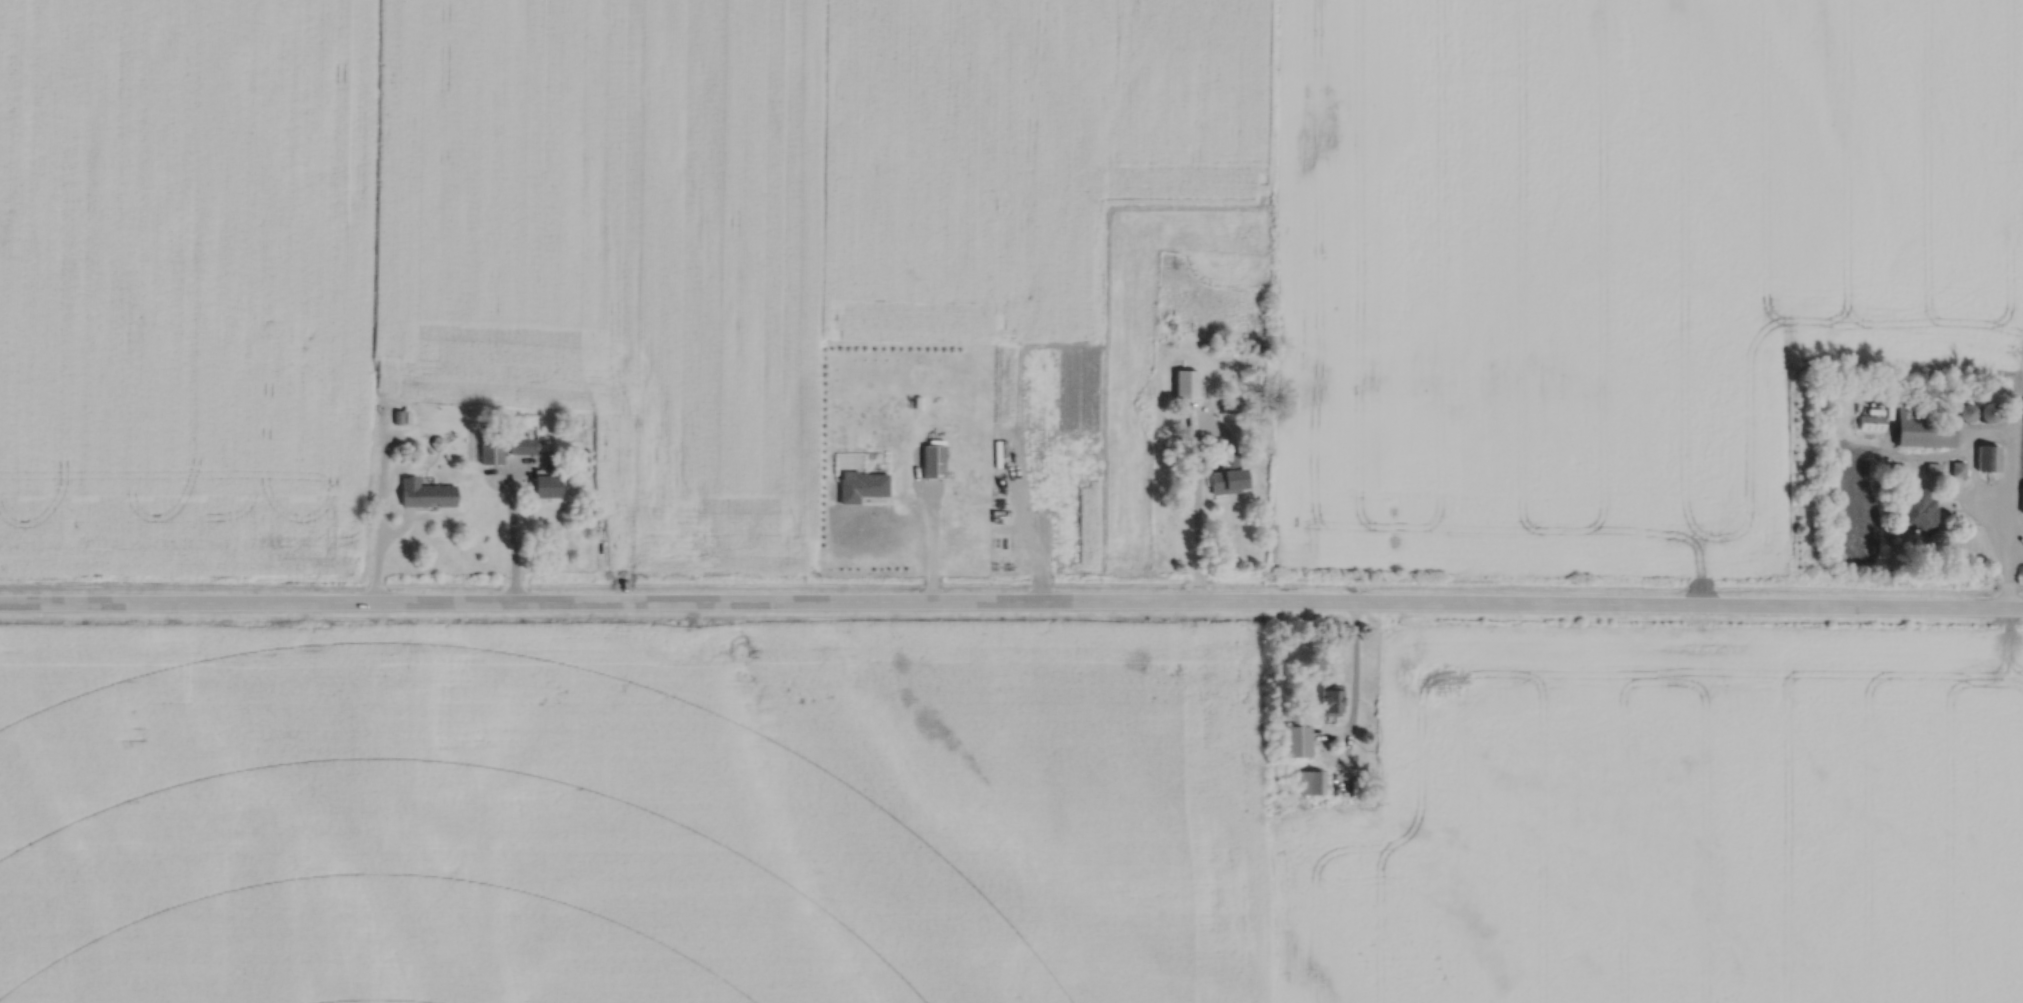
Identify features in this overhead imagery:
building: (1186, 384)
building: (1230, 407)
building: (1875, 411)
building: (1966, 412)
building: (1987, 412)
building: (397, 417)
building: (407, 418)
building: (1872, 423)
building: (1922, 428)
building: (522, 446)
building: (1003, 446)
building: (490, 450)
building: (996, 453)
road: (1924, 456)
building: (1988, 457)
building: (933, 458)
building: (1934, 468)
building: (1958, 468)
building: (1895, 469)
building: (1227, 472)
road: (1971, 475)
building: (546, 484)
building: (860, 484)
road: (2008, 489)
building: (424, 493)
building: (2017, 493)
road: (1195, 498)
building: (2022, 502)
road: (382, 506)
building: (1915, 508)
road: (1021, 521)
road: (400, 529)
road: (930, 530)
road: (512, 533)
road: (1011, 600)
road: (1355, 681)
building: (1330, 699)
building: (1296, 740)
building: (1310, 782)

